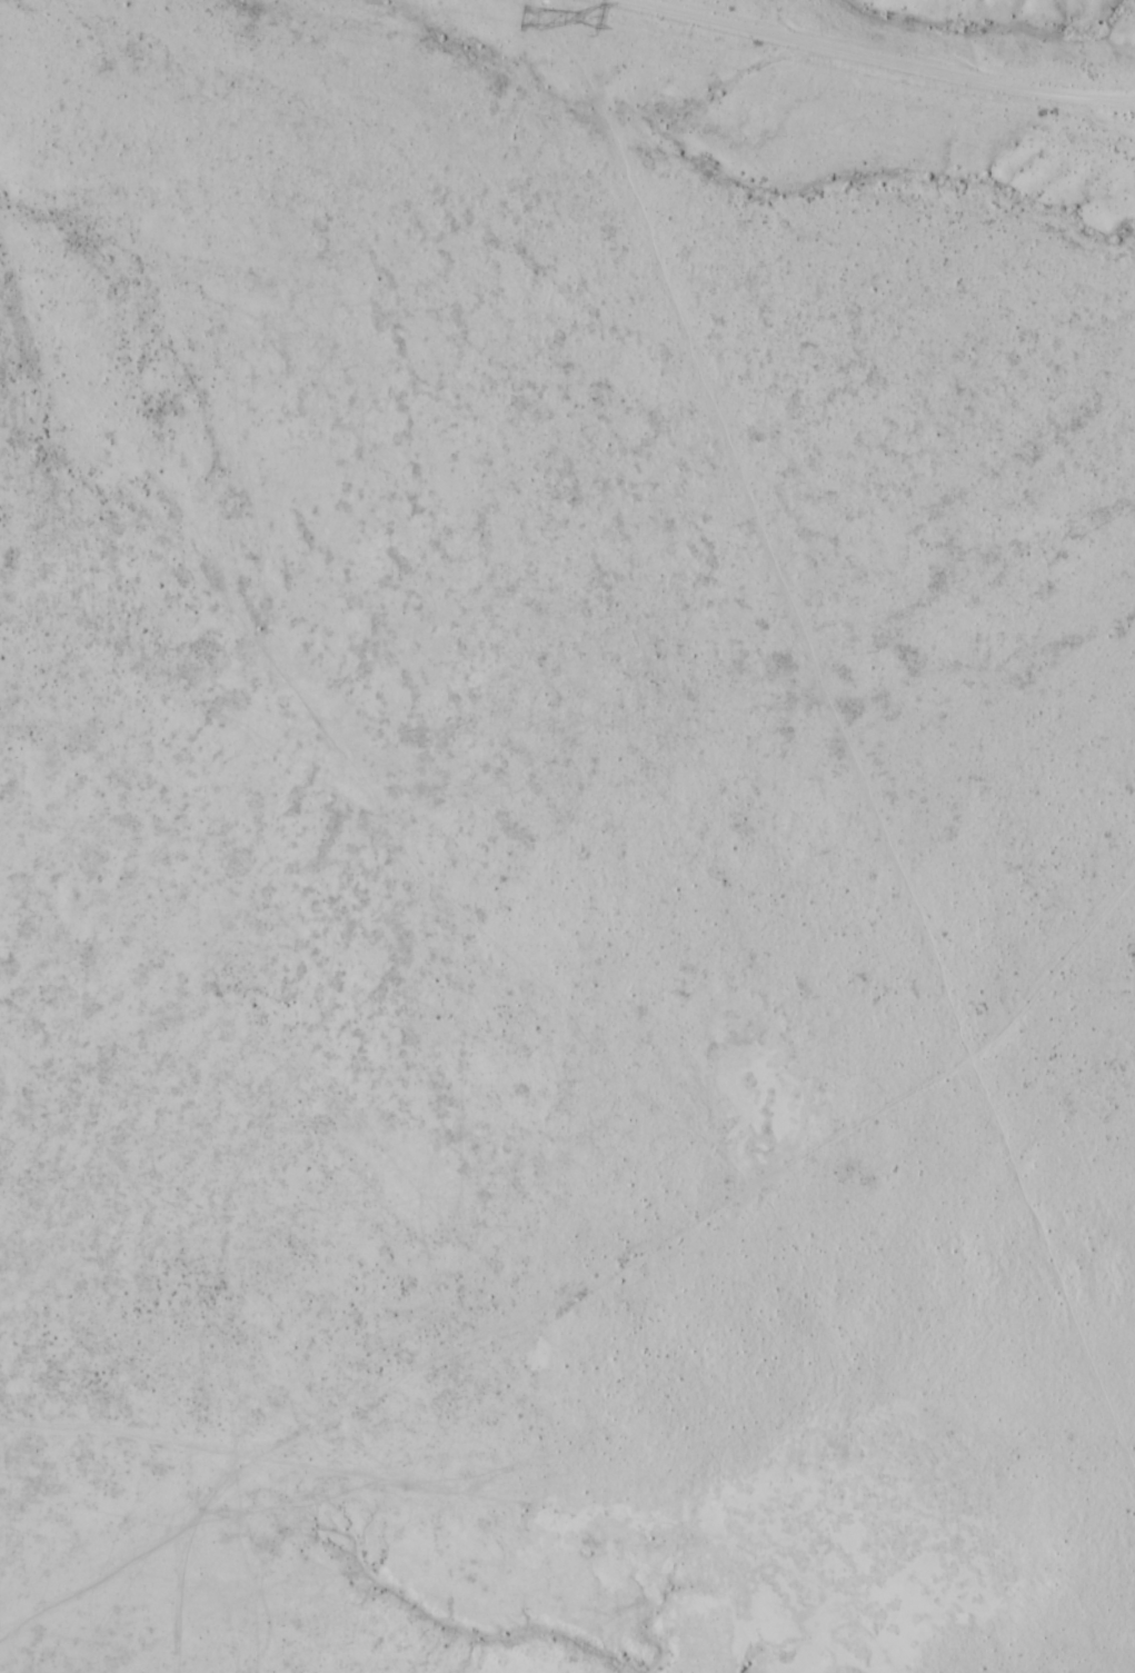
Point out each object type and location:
power tower: (522, 0)
road: (942, 40)
road: (621, 1202)

